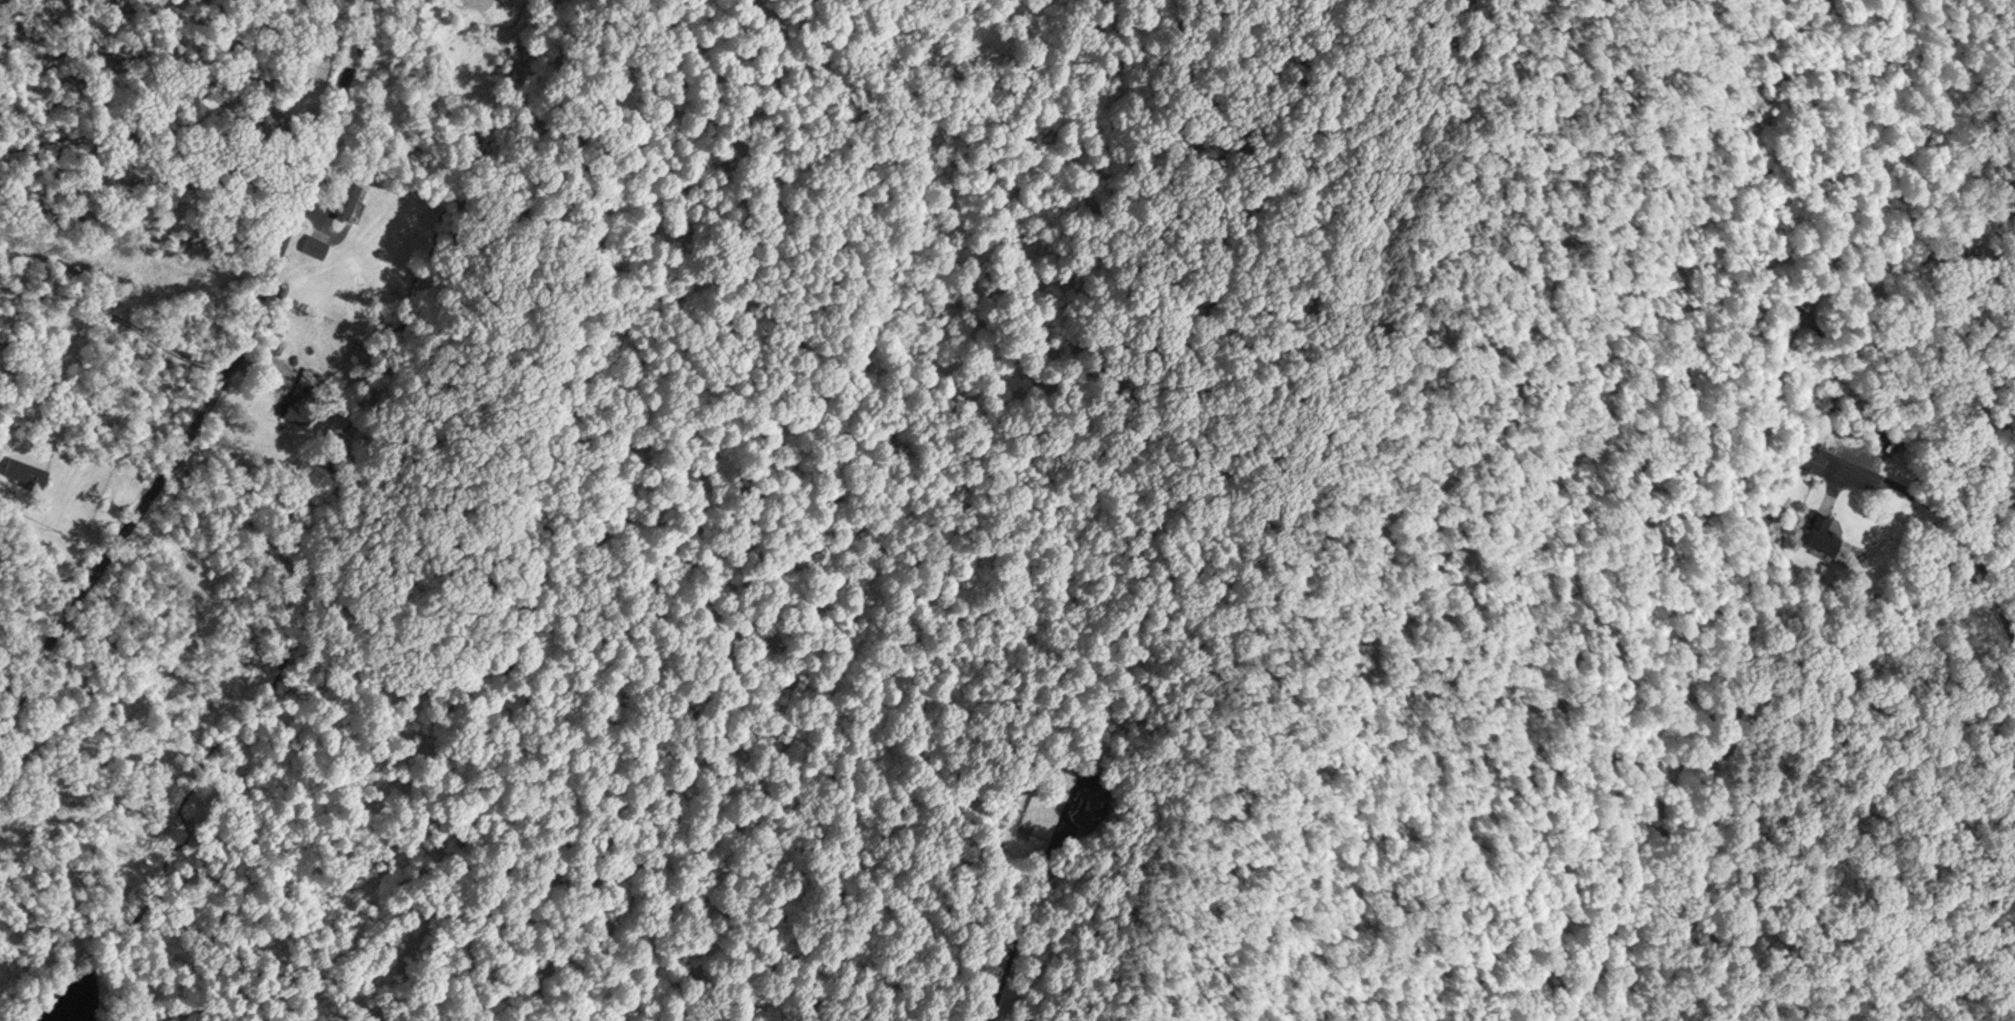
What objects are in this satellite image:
building: (316, 244)
road: (115, 320)
road: (219, 382)
building: (292, 405)
building: (1813, 456)
building: (25, 467)
road: (1959, 526)
building: (1822, 529)

